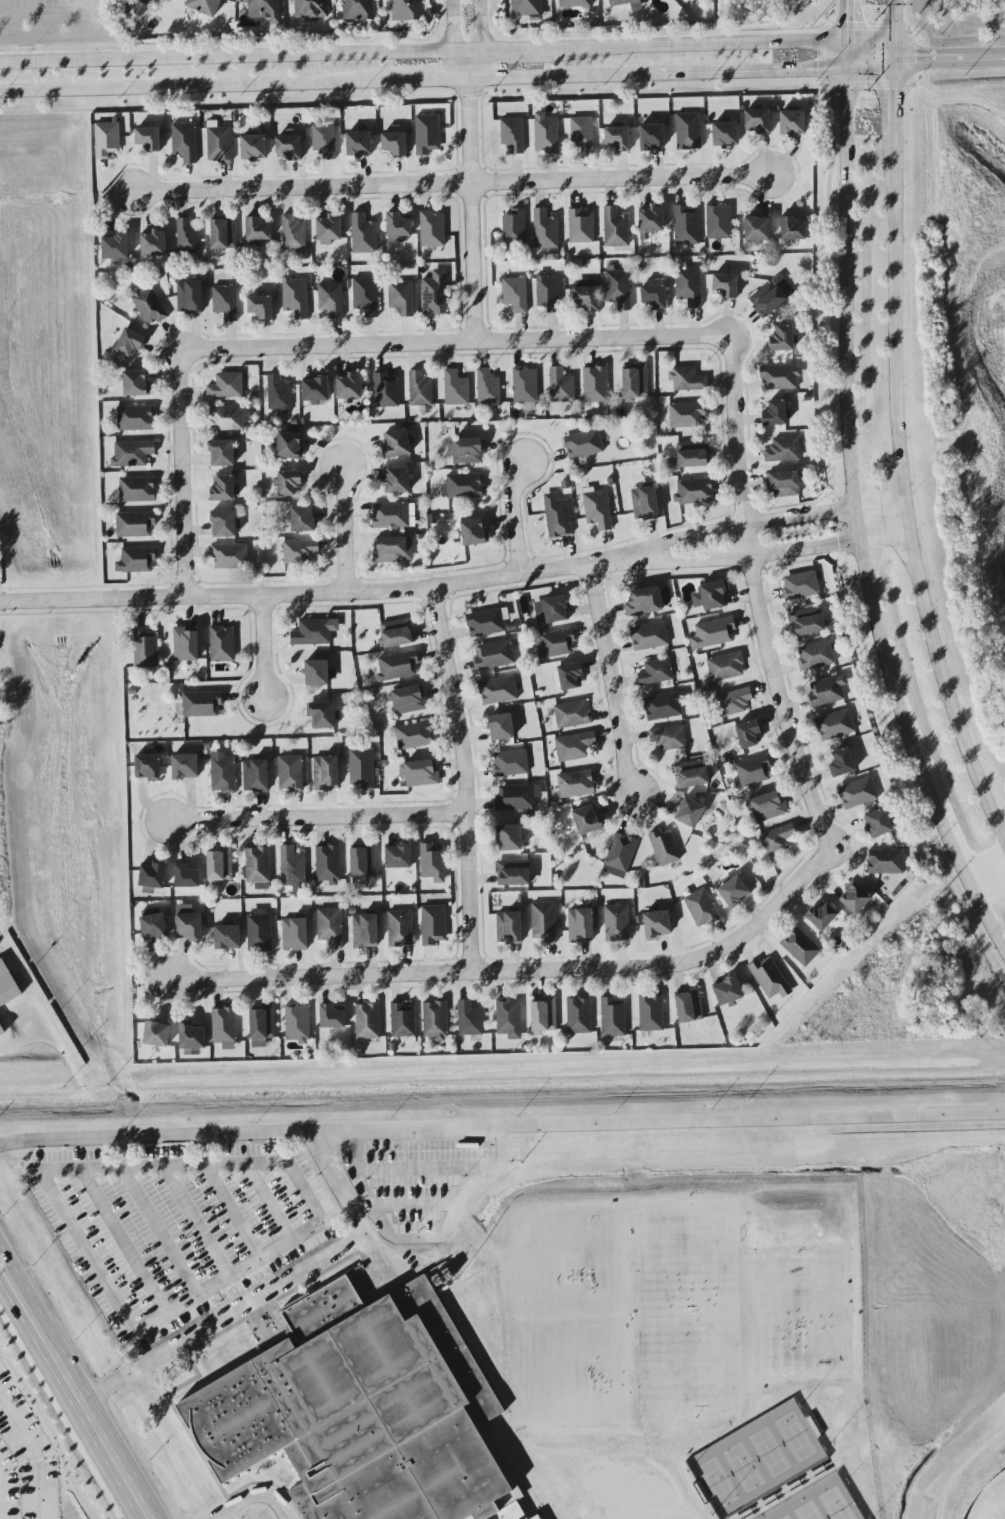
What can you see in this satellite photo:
building: (575, 3)
building: (636, 5)
building: (205, 6)
building: (526, 7)
building: (140, 9)
building: (310, 9)
building: (264, 10)
building: (405, 10)
building: (357, 11)
road: (896, 22)
road: (847, 23)
road: (451, 27)
road: (480, 40)
road: (871, 45)
road: (930, 46)
road: (700, 49)
road: (985, 49)
road: (503, 54)
road: (226, 60)
road: (460, 66)
road: (502, 76)
building: (757, 120)
building: (792, 122)
building: (688, 131)
building: (546, 133)
building: (582, 133)
building: (725, 133)
building: (427, 134)
building: (512, 134)
building: (651, 136)
building: (148, 138)
building: (106, 139)
building: (617, 139)
building: (185, 141)
building: (218, 142)
building: (324, 142)
building: (359, 143)
building: (395, 143)
building: (253, 146)
building: (289, 146)
road: (455, 185)
road: (470, 209)
building: (651, 221)
building: (718, 221)
building: (686, 225)
building: (580, 226)
building: (397, 227)
building: (514, 227)
building: (615, 227)
building: (757, 228)
building: (792, 228)
building: (257, 229)
building: (329, 229)
building: (432, 229)
building: (545, 231)
building: (223, 233)
building: (293, 233)
building: (363, 234)
building: (187, 236)
building: (153, 243)
building: (115, 246)
building: (726, 285)
building: (689, 286)
building: (618, 288)
building: (547, 290)
building: (434, 293)
building: (515, 293)
building: (366, 295)
building: (585, 295)
building: (654, 295)
building: (771, 295)
building: (189, 297)
building: (295, 297)
building: (401, 297)
building: (331, 298)
building: (225, 301)
building: (147, 304)
building: (261, 307)
building: (782, 338)
building: (129, 342)
road: (454, 343)
building: (780, 377)
building: (687, 379)
building: (634, 382)
building: (136, 383)
building: (595, 384)
building: (226, 386)
building: (561, 386)
building: (349, 387)
building: (488, 387)
building: (525, 387)
building: (455, 388)
building: (315, 389)
building: (419, 389)
building: (386, 390)
building: (278, 394)
building: (775, 413)
building: (687, 414)
building: (228, 417)
building: (135, 418)
building: (396, 443)
building: (583, 444)
building: (290, 446)
road: (899, 448)
building: (783, 449)
building: (468, 451)
building: (132, 453)
building: (222, 453)
building: (693, 454)
road: (180, 475)
building: (397, 480)
building: (288, 482)
building: (783, 484)
building: (462, 486)
building: (223, 488)
building: (137, 489)
building: (694, 491)
building: (644, 503)
building: (597, 509)
road: (856, 511)
building: (393, 515)
building: (557, 516)
road: (513, 517)
building: (302, 519)
road: (766, 521)
building: (224, 523)
building: (135, 524)
road: (343, 530)
building: (474, 533)
building: (391, 549)
building: (300, 551)
road: (771, 553)
building: (230, 556)
building: (137, 559)
road: (611, 561)
building: (800, 585)
road: (296, 594)
building: (710, 595)
road: (754, 596)
building: (643, 602)
building: (551, 610)
building: (487, 621)
building: (806, 621)
building: (314, 631)
building: (397, 633)
building: (713, 633)
building: (649, 636)
building: (185, 643)
building: (556, 643)
building: (222, 644)
building: (145, 649)
road: (263, 649)
building: (494, 654)
building: (816, 655)
building: (397, 666)
building: (725, 666)
building: (319, 672)
building: (656, 672)
building: (568, 676)
road: (611, 680)
building: (497, 690)
building: (827, 691)
building: (408, 699)
building: (734, 701)
building: (202, 703)
building: (662, 706)
building: (572, 714)
building: (322, 715)
building: (835, 725)
building: (501, 727)
building: (747, 733)
building: (411, 735)
building: (667, 738)
building: (574, 746)
building: (510, 763)
building: (841, 763)
building: (185, 766)
building: (148, 767)
building: (362, 768)
building: (752, 771)
building: (222, 772)
building: (290, 773)
building: (325, 773)
building: (421, 773)
building: (691, 774)
building: (255, 775)
road: (463, 778)
building: (576, 784)
building: (858, 793)
building: (517, 797)
building: (768, 806)
building: (689, 812)
road: (317, 817)
building: (586, 819)
building: (878, 823)
building: (509, 837)
building: (777, 839)
building: (664, 848)
building: (619, 855)
building: (398, 856)
building: (363, 861)
building: (432, 861)
building: (885, 861)
building: (219, 864)
building: (328, 864)
building: (257, 865)
building: (292, 869)
building: (513, 872)
road: (988, 873)
building: (153, 875)
building: (186, 876)
building: (734, 891)
building: (854, 898)
building: (701, 908)
building: (821, 916)
building: (544, 921)
building: (433, 924)
building: (580, 924)
building: (656, 924)
building: (153, 926)
building: (189, 926)
building: (330, 927)
building: (508, 927)
building: (400, 928)
building: (259, 931)
building: (365, 931)
building: (294, 933)
building: (227, 936)
building: (800, 947)
road: (519, 972)
building: (770, 978)
building: (727, 990)
building: (689, 1006)
building: (651, 1013)
building: (544, 1015)
building: (579, 1015)
building: (331, 1017)
building: (613, 1017)
building: (508, 1018)
building: (469, 1019)
building: (435, 1020)
building: (367, 1021)
building: (403, 1022)
building: (297, 1023)
building: (261, 1025)
building: (224, 1027)
building: (156, 1034)
building: (192, 1039)
road: (502, 1126)
road: (204, 1150)
road: (122, 1152)
road: (420, 1169)
road: (268, 1203)
road: (414, 1206)
road: (232, 1212)
road: (353, 1215)
road: (196, 1222)
road: (159, 1232)
road: (422, 1239)
road: (122, 1242)
road: (279, 1247)
park: (799, 1288)
park: (692, 1307)
park: (570, 1316)
road: (223, 1319)
road: (75, 1389)
building: (363, 1409)
park: (795, 1435)
road: (296, 1442)
park: (769, 1451)
road: (32, 1455)
park: (743, 1467)
park: (718, 1482)
road: (255, 1496)
park: (990, 1501)
park: (836, 1505)
park: (808, 1512)
road: (218, 1518)
parking lot: (287, 1518)
park: (786, 1518)

